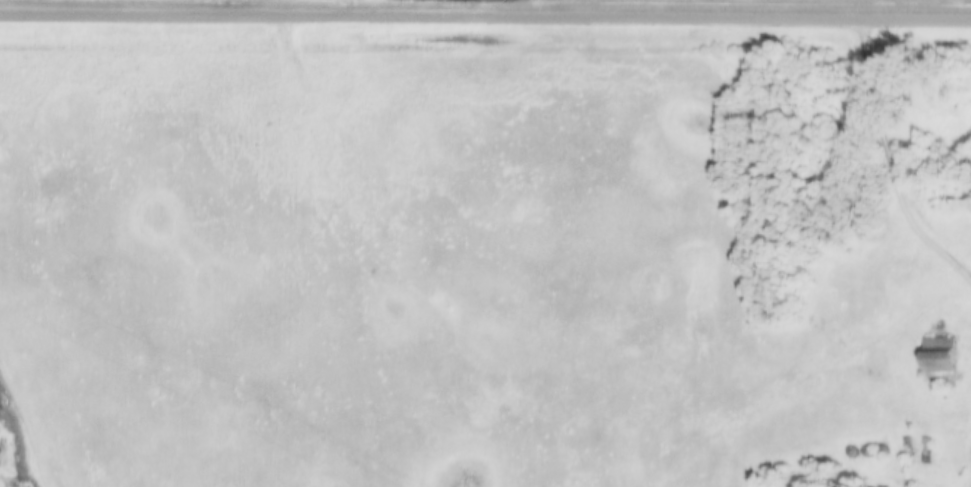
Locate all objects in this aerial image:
road: (485, 21)
road: (892, 161)
building: (941, 355)

